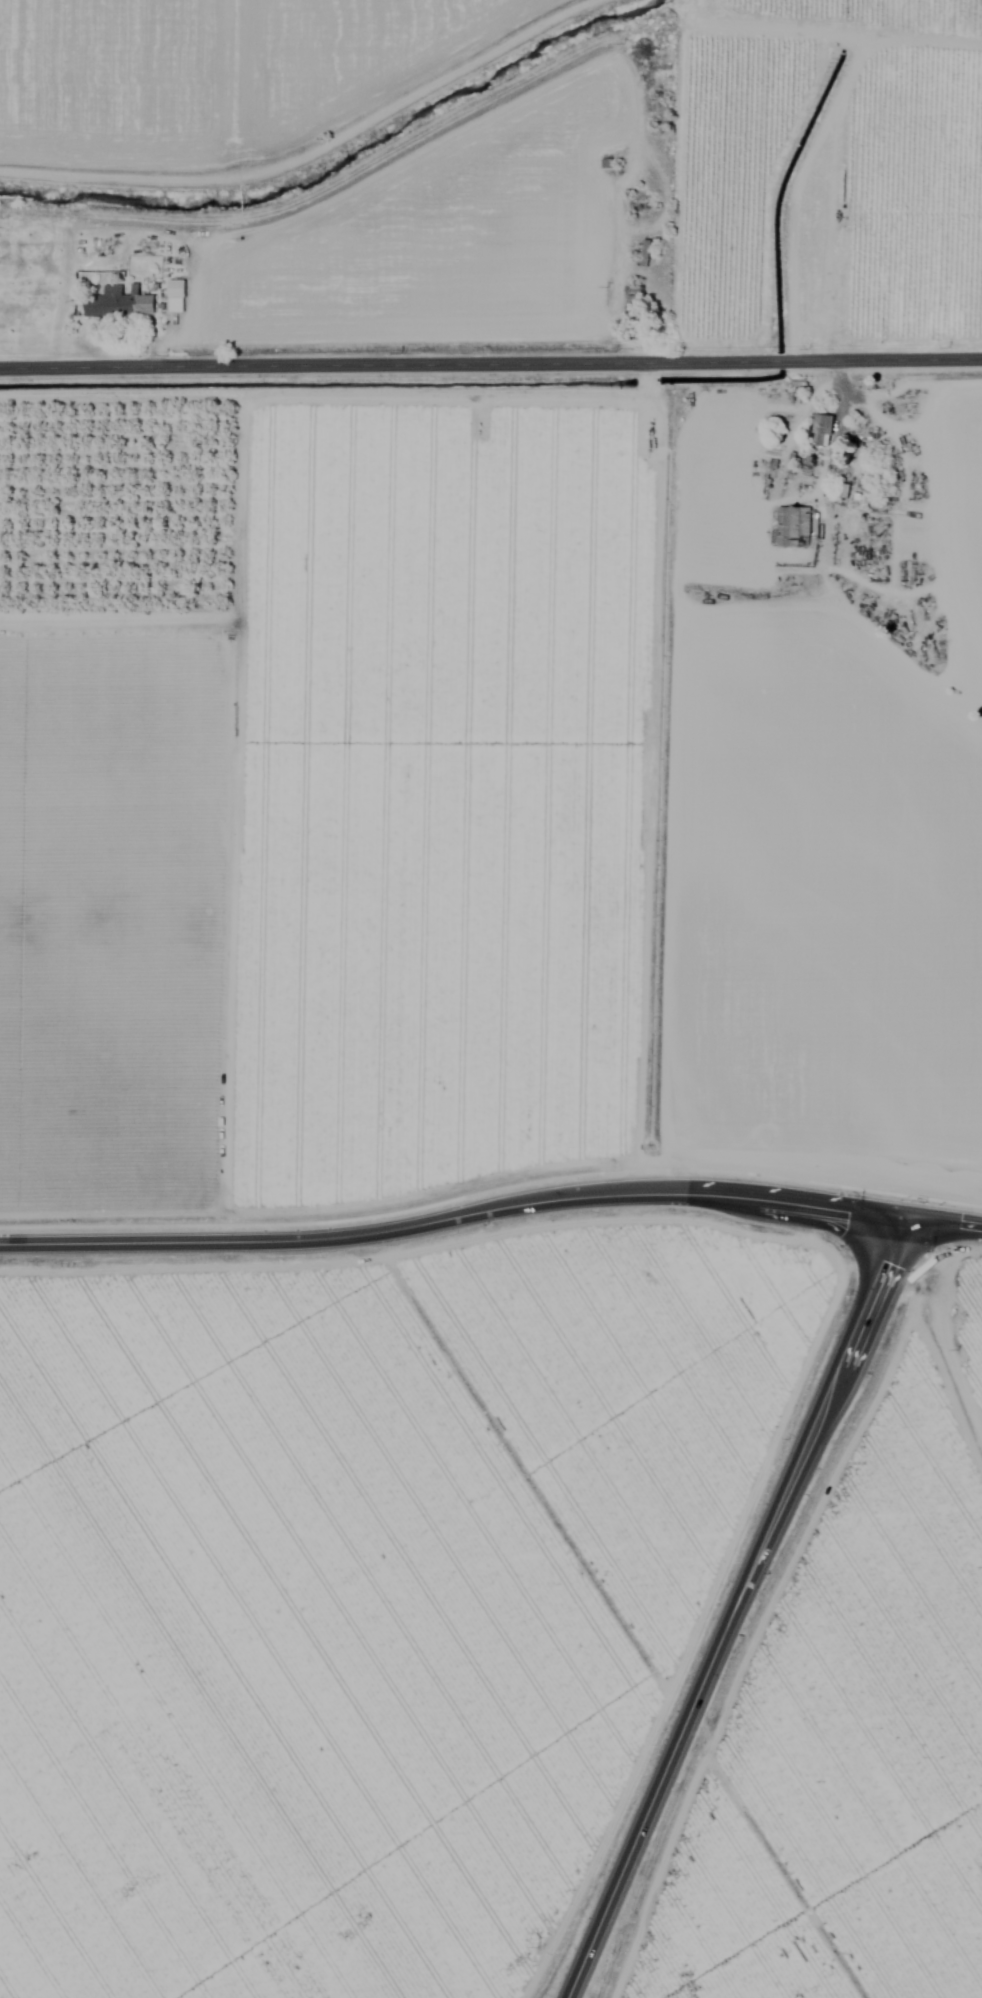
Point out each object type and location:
building: (646, 250)
building: (177, 297)
building: (120, 305)
building: (634, 306)
road: (491, 364)
building: (823, 431)
building: (793, 527)
road: (677, 578)
crop: (491, 999)
road: (491, 1208)
road: (734, 1607)

